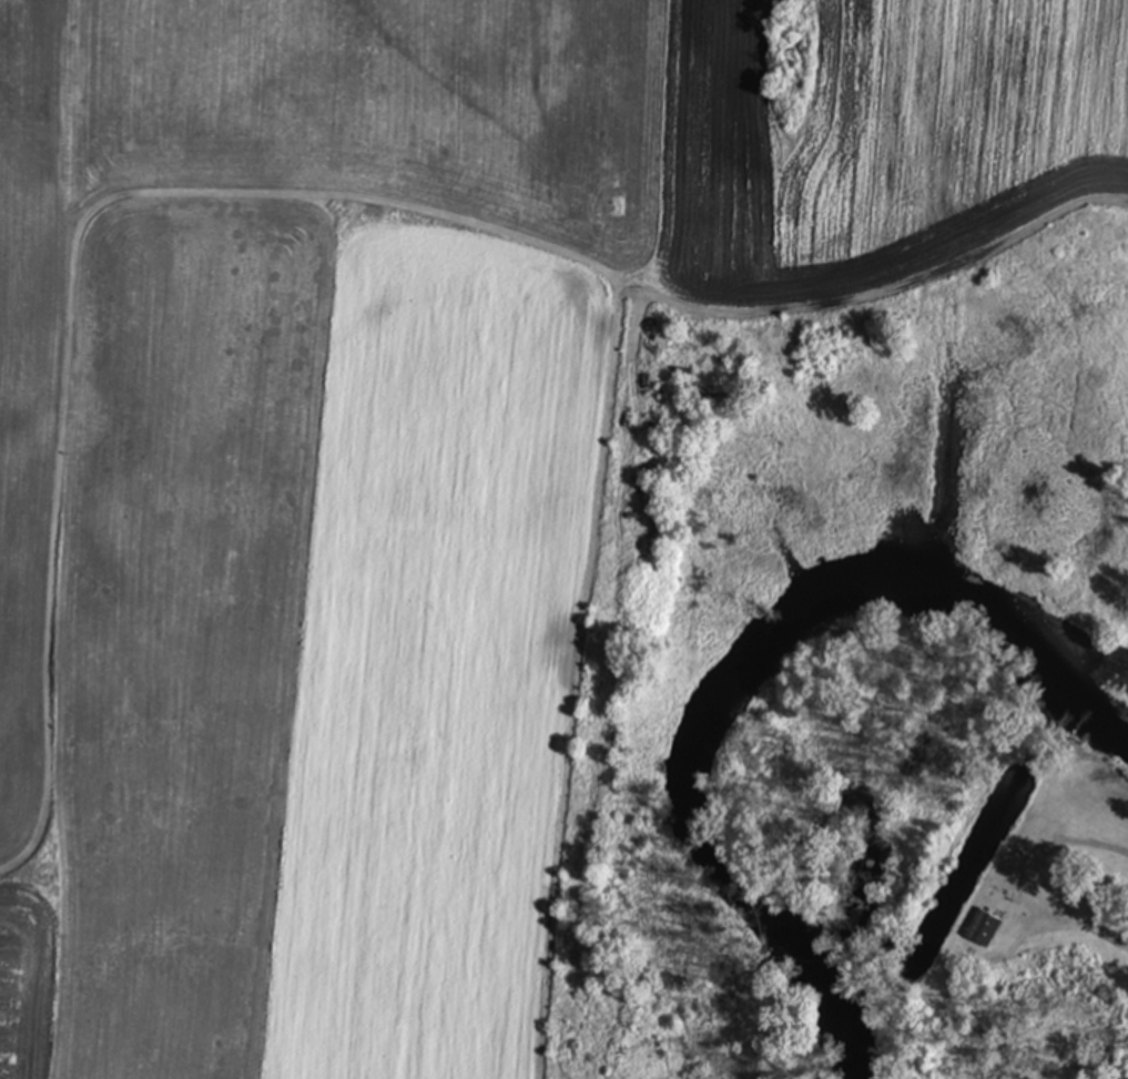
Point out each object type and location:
river: (746, 680)
road: (1107, 848)
building: (988, 920)

